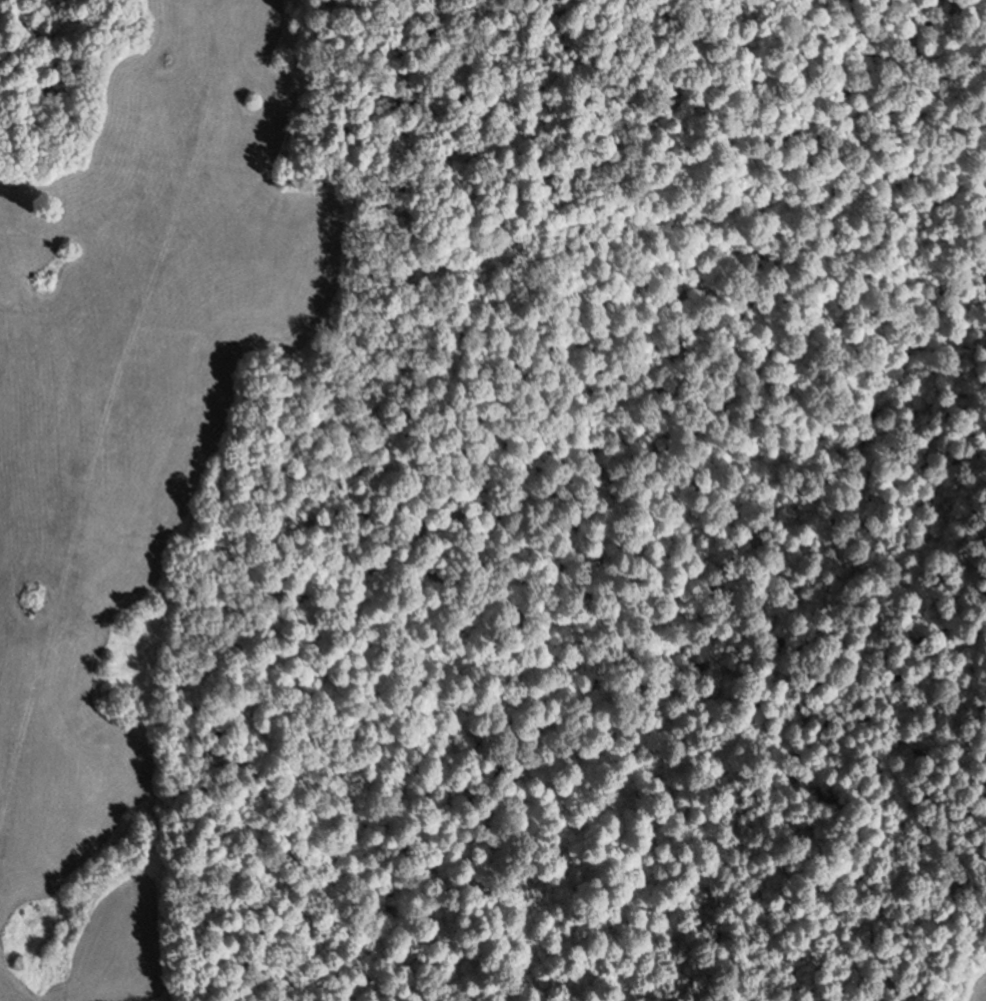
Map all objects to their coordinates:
park: (17, 70)

